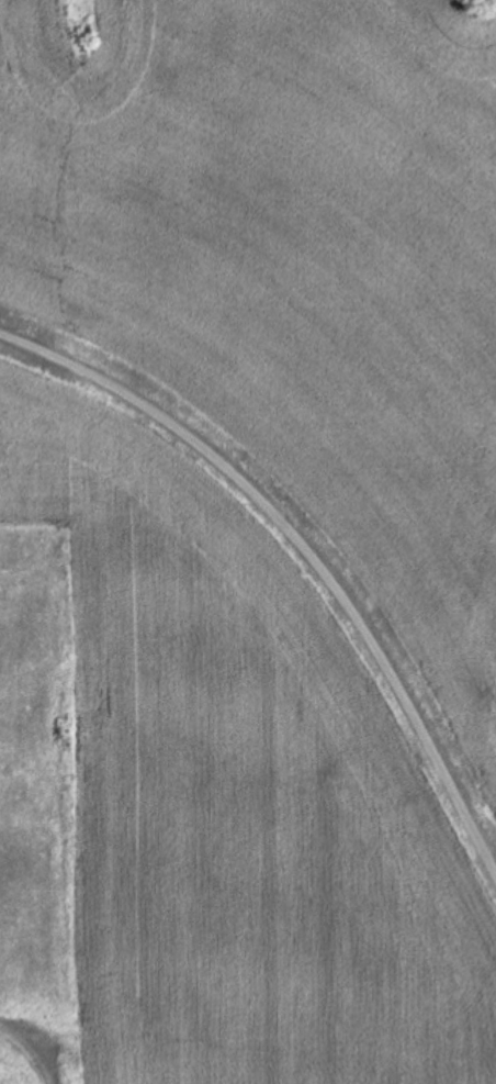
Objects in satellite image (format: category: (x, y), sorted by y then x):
road: (304, 548)

